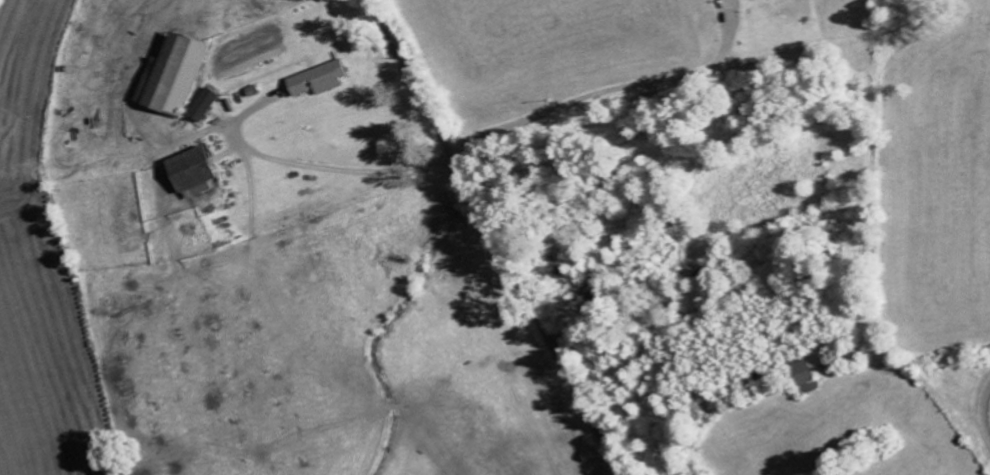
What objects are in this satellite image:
building: (724, 5)
building: (176, 76)
building: (322, 80)
building: (206, 105)
building: (198, 172)
road: (491, 237)
building: (810, 374)

